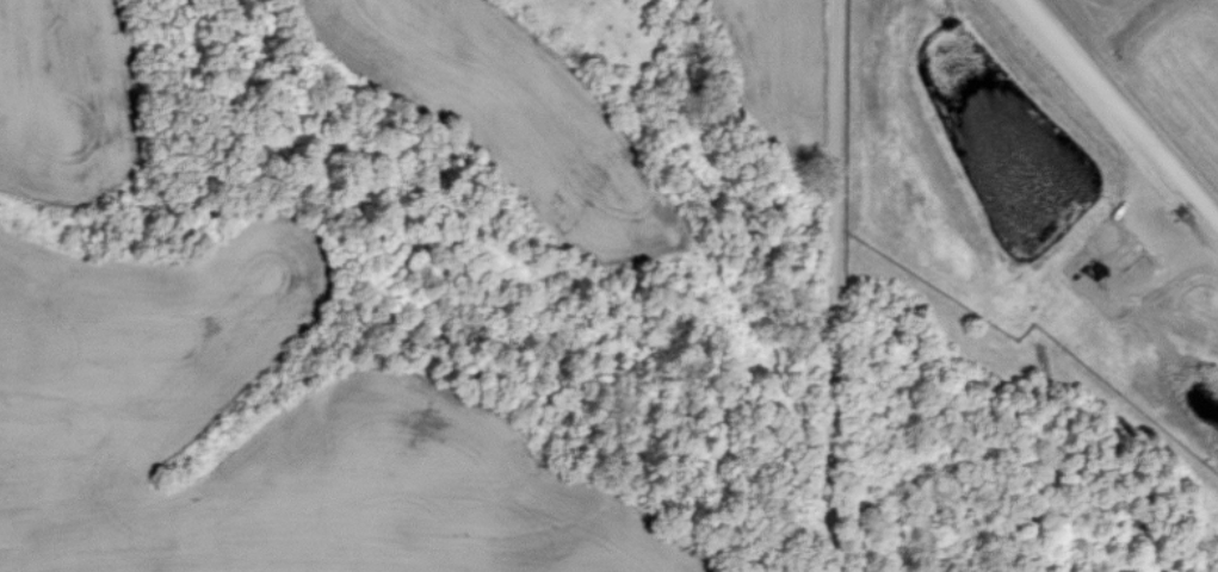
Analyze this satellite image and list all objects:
road: (831, 286)

